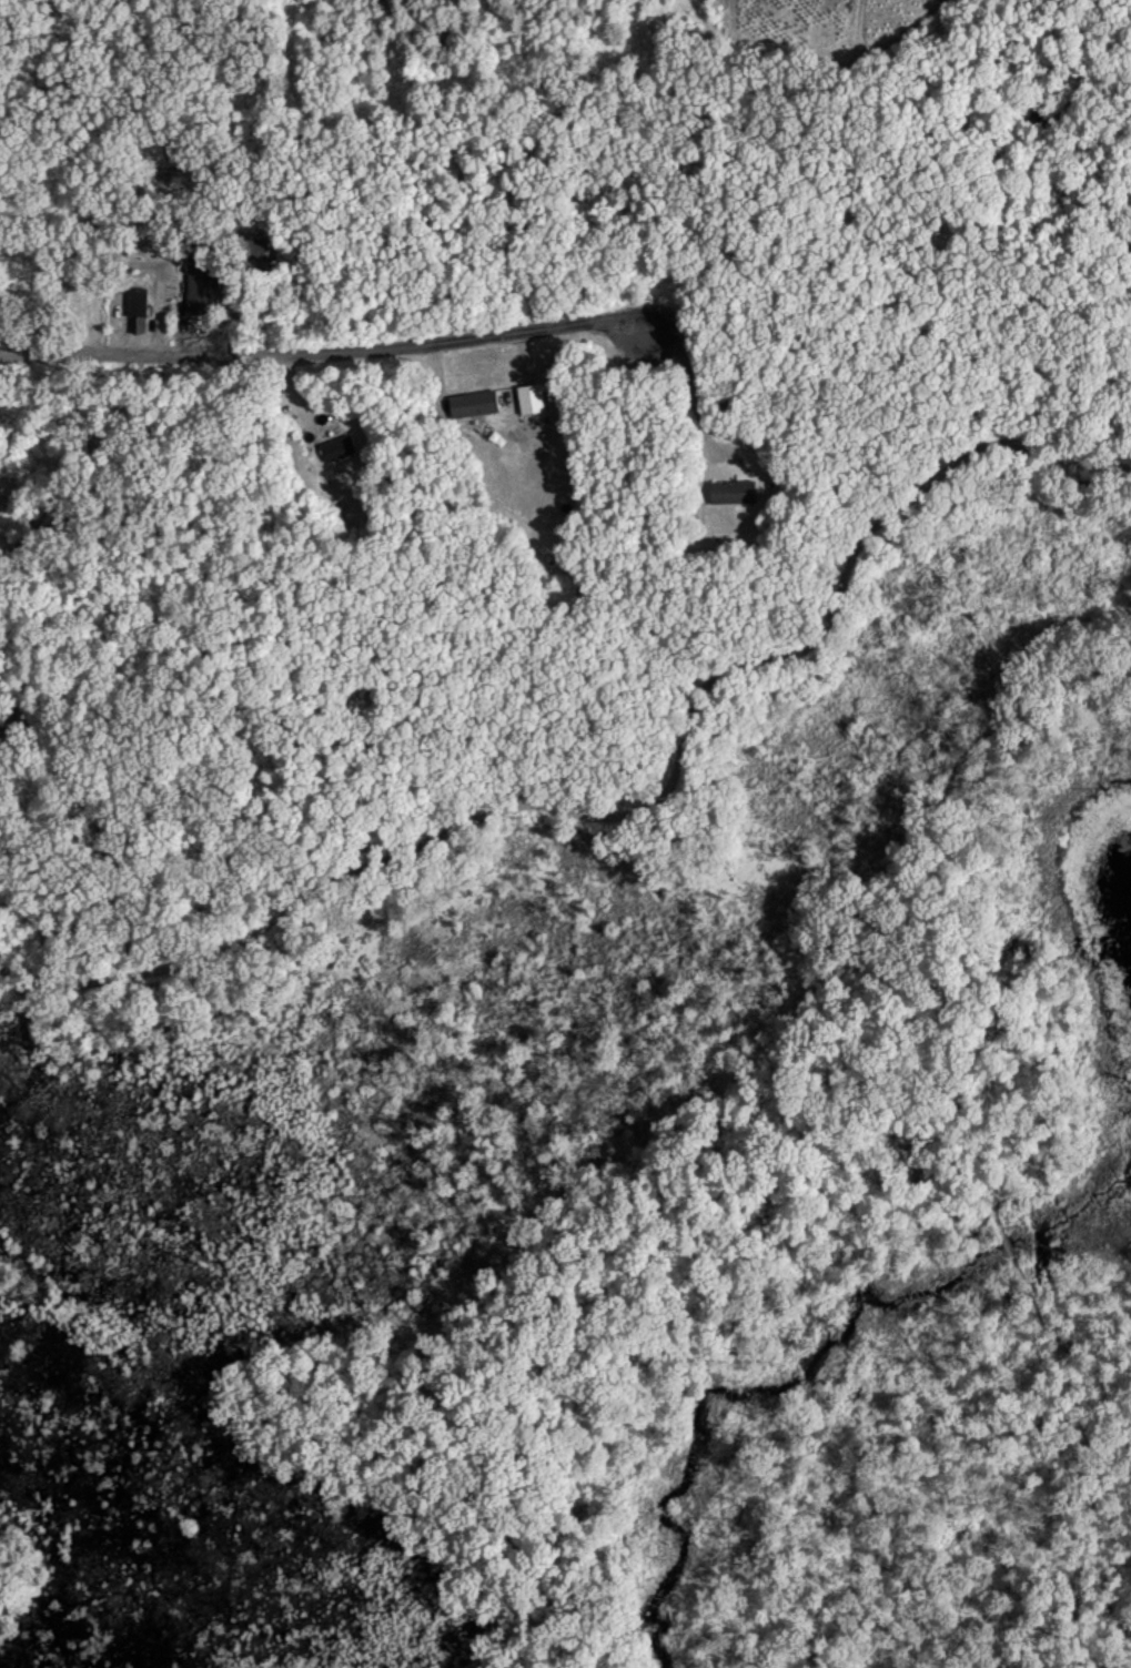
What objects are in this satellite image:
road: (854, 30)
road: (524, 69)
building: (200, 283)
building: (137, 310)
road: (424, 343)
road: (99, 353)
road: (695, 384)
building: (532, 397)
building: (474, 403)
building: (340, 447)
building: (734, 491)
road: (629, 803)
park: (617, 1115)
road: (689, 1223)
road: (1050, 1336)
road: (1078, 1626)

